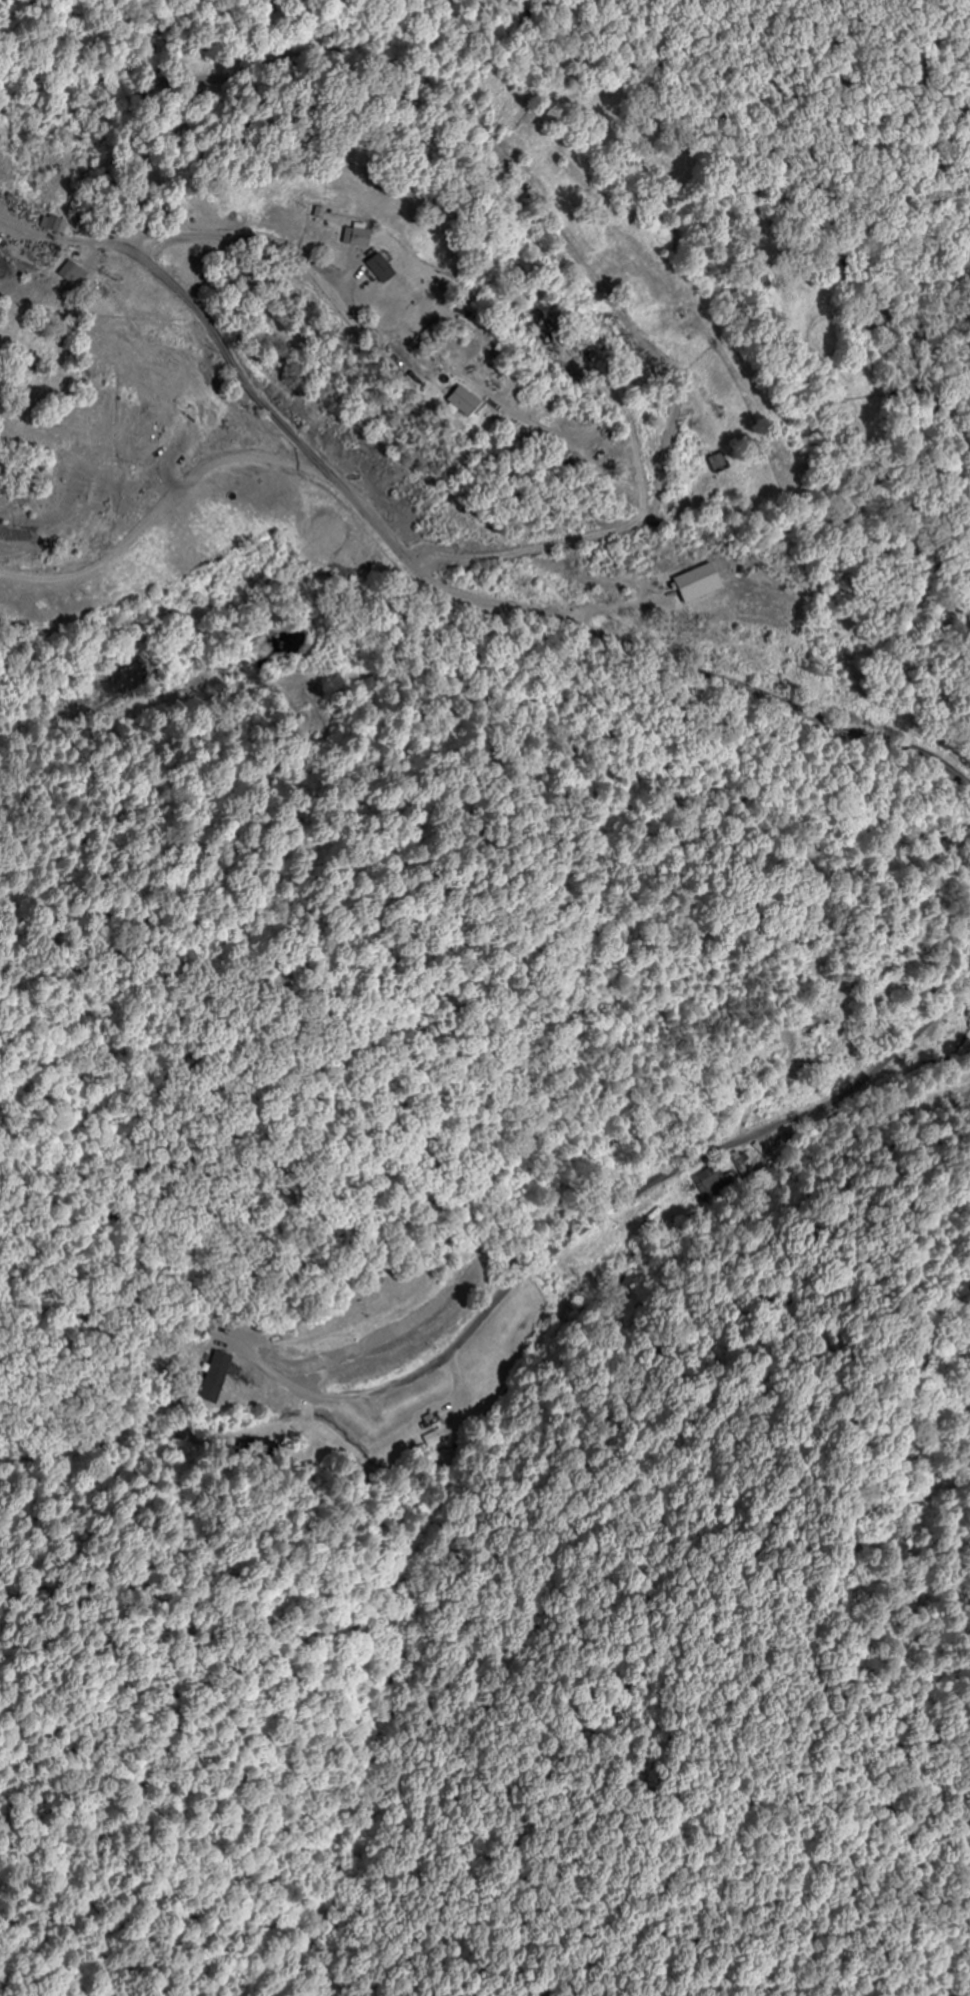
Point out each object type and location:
road: (314, 208)
building: (57, 224)
building: (362, 238)
building: (384, 269)
building: (82, 278)
building: (542, 329)
building: (473, 403)
building: (201, 409)
road: (166, 498)
building: (701, 584)
road: (442, 586)
building: (819, 1024)
building: (707, 1181)
road: (640, 1188)

